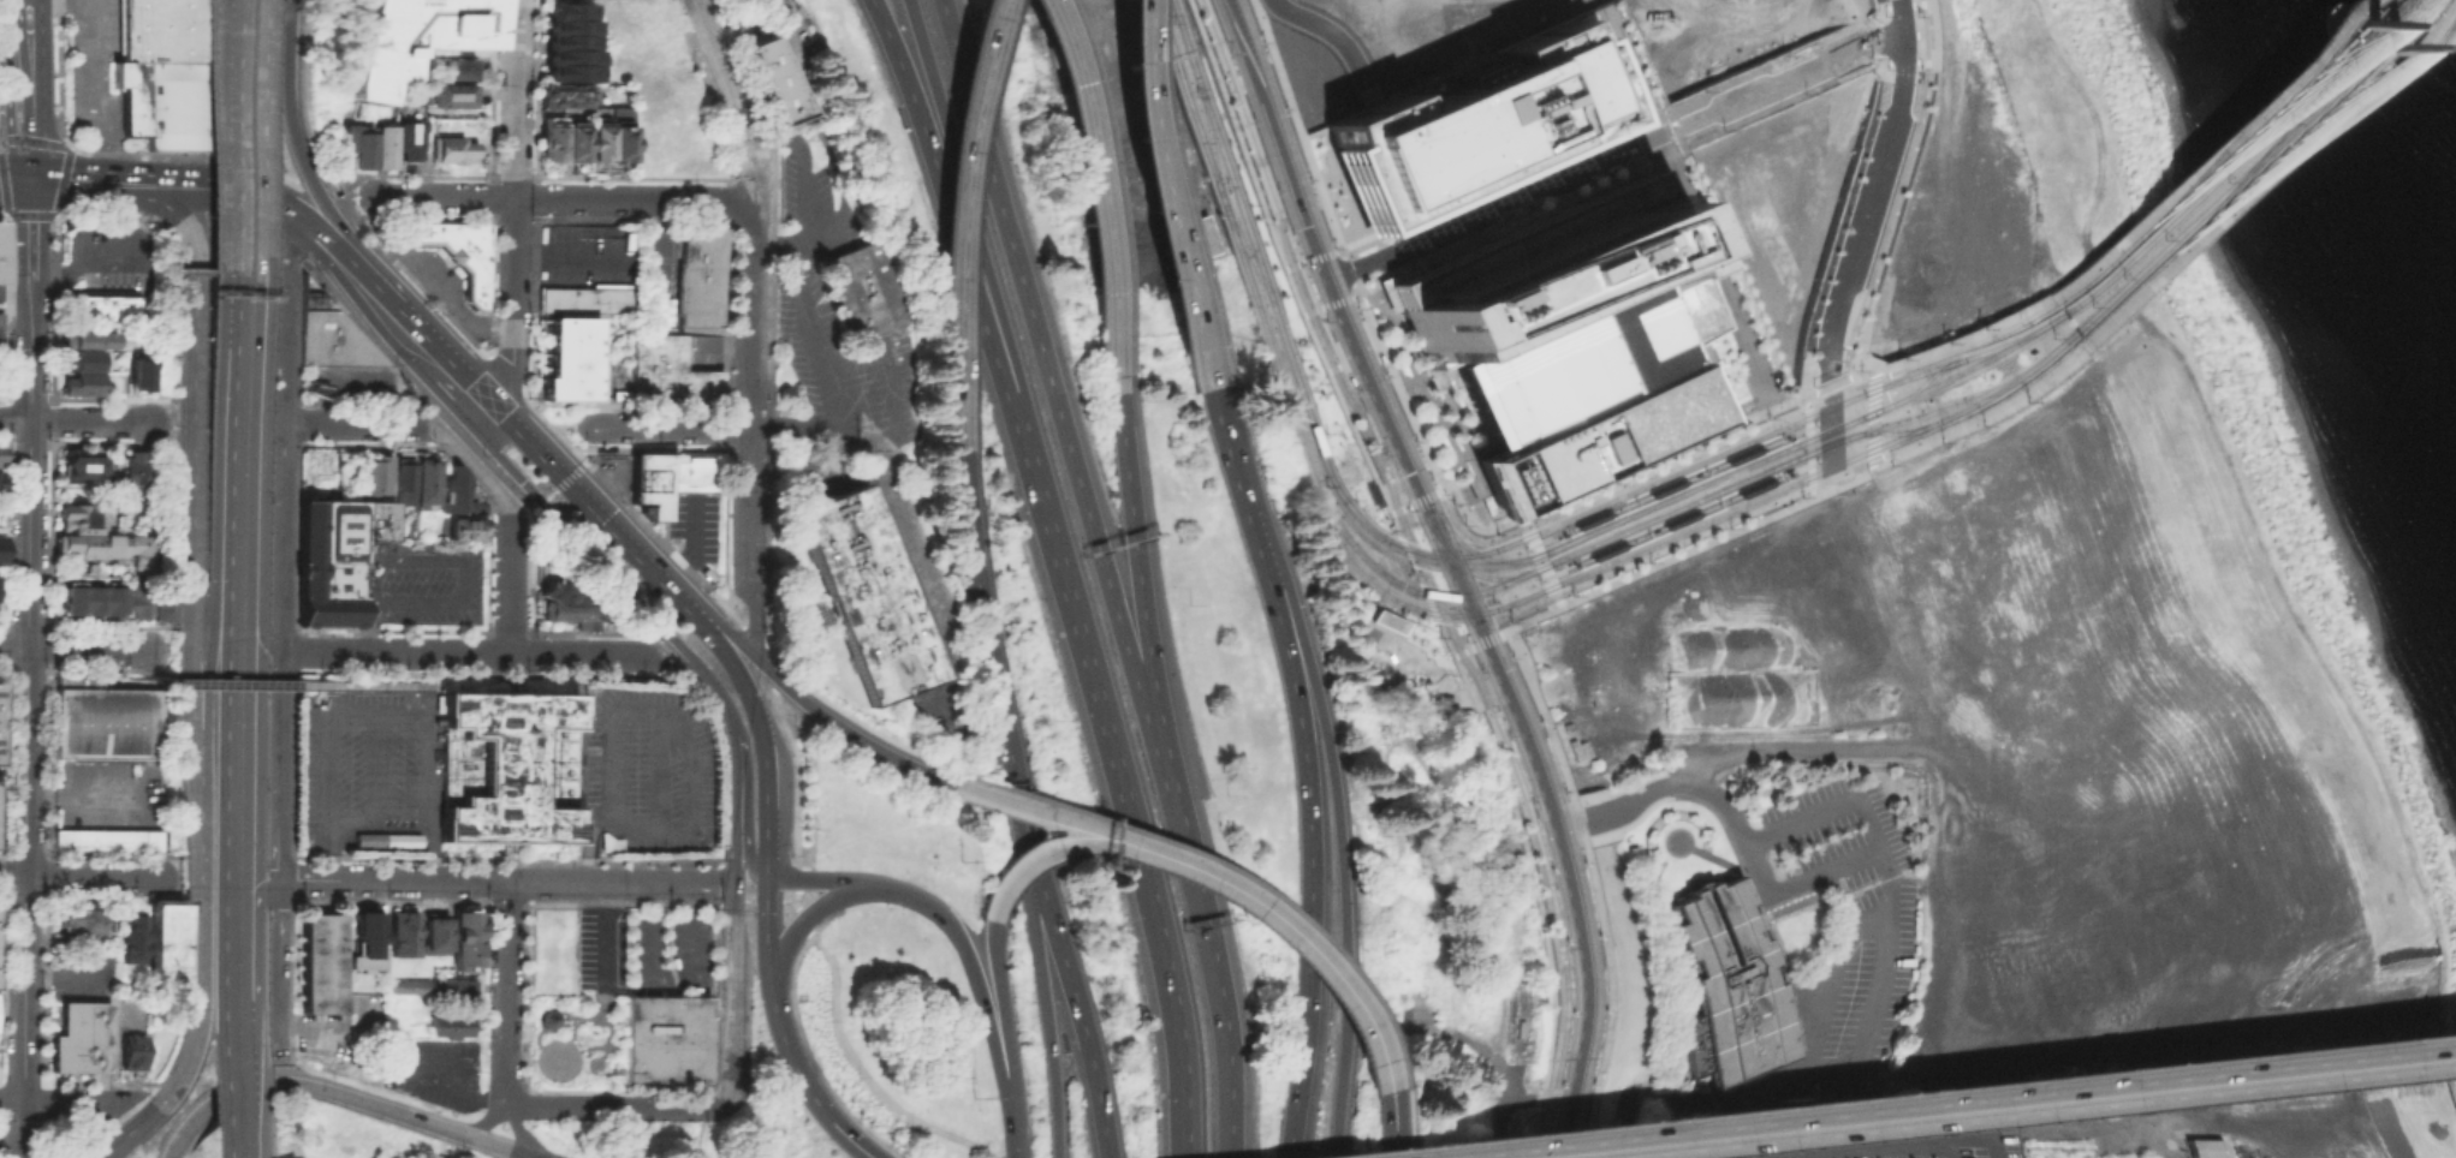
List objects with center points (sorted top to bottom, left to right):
road: (14, 4)
building: (566, 8)
road: (1899, 16)
building: (569, 25)
road: (1322, 25)
railway: (1176, 26)
railway: (1162, 29)
road: (1911, 32)
road: (1881, 36)
building: (414, 38)
building: (567, 40)
road: (1874, 40)
road: (266, 43)
road: (8, 48)
building: (570, 55)
road: (1765, 61)
building: (459, 67)
road: (721, 70)
building: (570, 71)
building: (163, 72)
road: (58, 73)
road: (89, 76)
road: (1366, 76)
road: (1355, 80)
road: (41, 82)
building: (777, 83)
road: (2, 84)
road: (1765, 84)
road: (26, 85)
building: (451, 94)
building: (563, 95)
road: (1368, 95)
road: (1863, 114)
road: (17, 115)
road: (820, 118)
road: (7, 127)
building: (1467, 127)
road: (1296, 129)
road: (1237, 132)
road: (236, 136)
building: (408, 137)
railway: (1207, 139)
building: (549, 141)
building: (571, 141)
road: (34, 142)
road: (298, 142)
building: (594, 142)
building: (616, 142)
building: (357, 144)
building: (385, 145)
building: (451, 149)
road: (182, 154)
road: (2216, 154)
road: (802, 156)
railway: (2236, 157)
road: (8, 163)
traffic signals: (18, 163)
road: (23, 163)
traffic signals: (29, 163)
road: (36, 163)
traffic signals: (44, 165)
railway: (2252, 165)
road: (127, 169)
road: (2268, 171)
road: (347, 177)
road: (309, 178)
road: (24, 180)
road: (30, 180)
road: (37, 181)
railway: (1231, 183)
road: (260, 184)
street lamp: (1681, 184)
railway: (1217, 189)
road: (1901, 190)
road: (228, 192)
road: (1094, 192)
road: (560, 196)
road: (1889, 196)
road: (1153, 197)
road: (14, 198)
traffic signals: (31, 198)
road: (88, 198)
road: (177, 198)
road: (512, 201)
road: (1497, 203)
road: (273, 208)
road: (1683, 208)
street lamp: (1691, 208)
road: (38, 215)
road: (952, 217)
road: (971, 219)
road: (952, 223)
road: (308, 233)
road: (803, 234)
street lamp: (1703, 235)
road: (653, 241)
road: (772, 244)
road: (1334, 249)
road: (31, 250)
building: (457, 251)
road: (1851, 252)
road: (567, 253)
railway: (1247, 253)
road: (345, 255)
parking lot: (584, 255)
road: (102, 256)
parking lot: (109, 256)
road: (1316, 256)
road: (1318, 258)
road: (1298, 261)
railway: (1331, 261)
street lamp: (1715, 261)
railway: (1310, 263)
road: (1290, 264)
road: (1285, 267)
building: (1534, 267)
road: (405, 269)
road: (1346, 269)
road: (204, 273)
road: (305, 274)
road: (1295, 274)
building: (0, 275)
building: (701, 276)
road: (531, 277)
road: (750, 282)
road: (383, 283)
street lamp: (1726, 287)
road: (439, 291)
building: (862, 291)
road: (1354, 296)
building: (583, 297)
road: (1334, 302)
building: (101, 304)
road: (16, 308)
road: (1316, 308)
road: (1308, 311)
road: (31, 314)
road: (1302, 314)
road: (1318, 314)
street lamp: (1738, 314)
road: (177, 315)
road: (284, 321)
building: (0, 322)
building: (329, 334)
street lamp: (1748, 335)
building: (85, 339)
road: (1970, 339)
railway: (2011, 339)
railway: (1327, 342)
road: (1042, 356)
street lamp: (1758, 356)
building: (567, 358)
railway: (1384, 358)
building: (81, 359)
road: (52, 360)
road: (1331, 366)
road: (1326, 369)
road: (503, 370)
road: (823, 370)
building: (136, 374)
building: (671, 374)
street lamp: (1767, 378)
road: (1842, 378)
parking lot: (356, 381)
road: (195, 382)
road: (1863, 382)
building: (82, 383)
road: (340, 383)
railway: (2003, 384)
road: (452, 386)
road: (1397, 386)
road: (525, 387)
building: (1574, 387)
traffic signals: (1845, 390)
building: (618, 394)
road: (188, 399)
road: (1788, 400)
road: (1339, 402)
road: (1994, 406)
road: (53, 410)
road: (892, 410)
road: (73, 420)
road: (356, 422)
building: (1685, 423)
traffic signals: (1861, 423)
road: (231, 425)
road: (664, 426)
road: (256, 430)
road: (42, 440)
road: (566, 441)
road: (1807, 444)
building: (1633, 446)
road: (1848, 446)
road: (835, 448)
traffic signals: (1804, 448)
road: (1859, 462)
building: (0, 464)
road: (472, 466)
road: (563, 466)
building: (84, 470)
building: (133, 471)
building: (374, 477)
building: (666, 477)
road: (1599, 478)
building: (400, 479)
building: (423, 479)
railway: (1697, 483)
road: (1669, 484)
road: (1617, 485)
traffic signals: (1806, 487)
road: (534, 489)
road: (555, 489)
road: (1439, 491)
building: (454, 494)
road: (1422, 499)
railway: (1721, 501)
railway: (1623, 503)
road: (1404, 507)
road: (1398, 511)
traffic signals: (1427, 511)
road: (1394, 512)
road: (1390, 513)
railway: (1663, 514)
building: (79, 517)
road: (725, 518)
road: (1676, 519)
traffic signals: (1530, 521)
railway: (1554, 521)
building: (462, 525)
road: (904, 531)
road: (1438, 535)
road: (281, 536)
road: (659, 539)
road: (690, 543)
road: (749, 543)
building: (0, 544)
road: (52, 544)
building: (106, 547)
road: (1136, 550)
road: (1676, 551)
traffic signals: (1416, 555)
building: (333, 556)
road: (1539, 557)
road: (1637, 557)
traffic signals: (1450, 561)
road: (458, 563)
building: (83, 569)
road: (1457, 578)
road: (790, 579)
road: (1420, 579)
parking lot: (427, 581)
road: (1428, 581)
road: (509, 584)
road: (228, 586)
building: (863, 592)
traffic signals: (1434, 595)
traffic signals: (1464, 595)
road: (254, 597)
traffic signals: (1546, 597)
building: (69, 599)
building: (88, 599)
building: (107, 599)
building: (135, 599)
railway: (1516, 599)
building: (160, 602)
building: (569, 604)
building: (1386, 619)
road: (1076, 620)
road: (367, 625)
traffic signals: (1480, 627)
road: (183, 628)
road: (729, 628)
road: (750, 633)
road: (1483, 635)
road: (262, 637)
road: (147, 638)
road: (985, 646)
road: (71, 649)
road: (208, 649)
road: (192, 650)
road: (323, 650)
road: (174, 651)
road: (505, 652)
road: (274, 656)
road: (145, 661)
road: (777, 661)
road: (107, 665)
road: (436, 669)
road: (183, 674)
road: (1433, 676)
road: (780, 681)
road: (272, 685)
road: (26, 712)
road: (371, 716)
building: (103, 717)
road: (834, 717)
road: (677, 728)
road: (872, 729)
road: (1161, 747)
parking lot: (358, 752)
road: (765, 753)
road: (246, 759)
road: (267, 763)
building: (506, 766)
road: (653, 766)
road: (1307, 766)
road: (373, 770)
road: (811, 771)
parking lot: (643, 772)
road: (1685, 784)
parking lot: (106, 789)
road: (87, 794)
road: (1827, 800)
road: (733, 814)
road: (1060, 814)
road: (747, 816)
road: (374, 824)
railway: (1566, 825)
railway: (1547, 828)
road: (1340, 835)
building: (106, 836)
building: (385, 838)
building: (302, 841)
road: (584, 843)
road: (1059, 849)
road: (276, 850)
road: (195, 855)
road: (159, 866)
road: (270, 870)
road: (1230, 870)
road: (77, 876)
road: (226, 876)
road: (799, 878)
road: (811, 879)
road: (1545, 881)
road: (504, 882)
road: (1533, 882)
road: (1593, 887)
road: (258, 890)
road: (795, 895)
road: (739, 897)
road: (202, 899)
road: (766, 900)
road: (791, 900)
road: (1577, 912)
building: (82, 917)
road: (803, 919)
road: (801, 920)
road: (766, 927)
building: (393, 932)
building: (426, 932)
building: (438, 932)
building: (406, 933)
building: (129, 936)
road: (601, 936)
building: (456, 937)
building: (469, 937)
road: (505, 938)
building: (165, 941)
building: (364, 941)
parking lot: (665, 944)
road: (1304, 945)
building: (548, 949)
parking lot: (597, 949)
road: (244, 951)
building: (319, 962)
road: (969, 965)
road: (1213, 971)
parking lot: (81, 972)
road: (65, 974)
road: (671, 975)
road: (1170, 977)
road: (1820, 978)
building: (1734, 984)
road: (1883, 984)
building: (408, 985)
building: (451, 985)
road: (733, 989)
road: (1074, 998)
road: (1047, 999)
road: (1001, 1015)
building: (547, 1017)
building: (447, 1023)
road: (332, 1031)
building: (77, 1035)
building: (664, 1038)
road: (505, 1049)
building: (127, 1051)
road: (2262, 1056)
road: (809, 1058)
parking lot: (433, 1068)
road: (866, 1073)
road: (420, 1075)
road: (244, 1078)
road: (799, 1078)
road: (2264, 1080)
road: (145, 1086)
road: (12, 1100)
road: (72, 1102)
road: (618, 1104)
road: (402, 1115)
road: (1709, 1117)
road: (482, 1121)
road: (1415, 1121)
road: (141, 1122)
road: (1401, 1123)
road: (186, 1128)
road: (13, 1129)
road: (25, 1129)
road: (518, 1129)
road: (1813, 1129)
road: (700, 1132)
road: (1651, 1132)
road: (1016, 1133)
road: (1904, 1145)
building: (2229, 1147)

